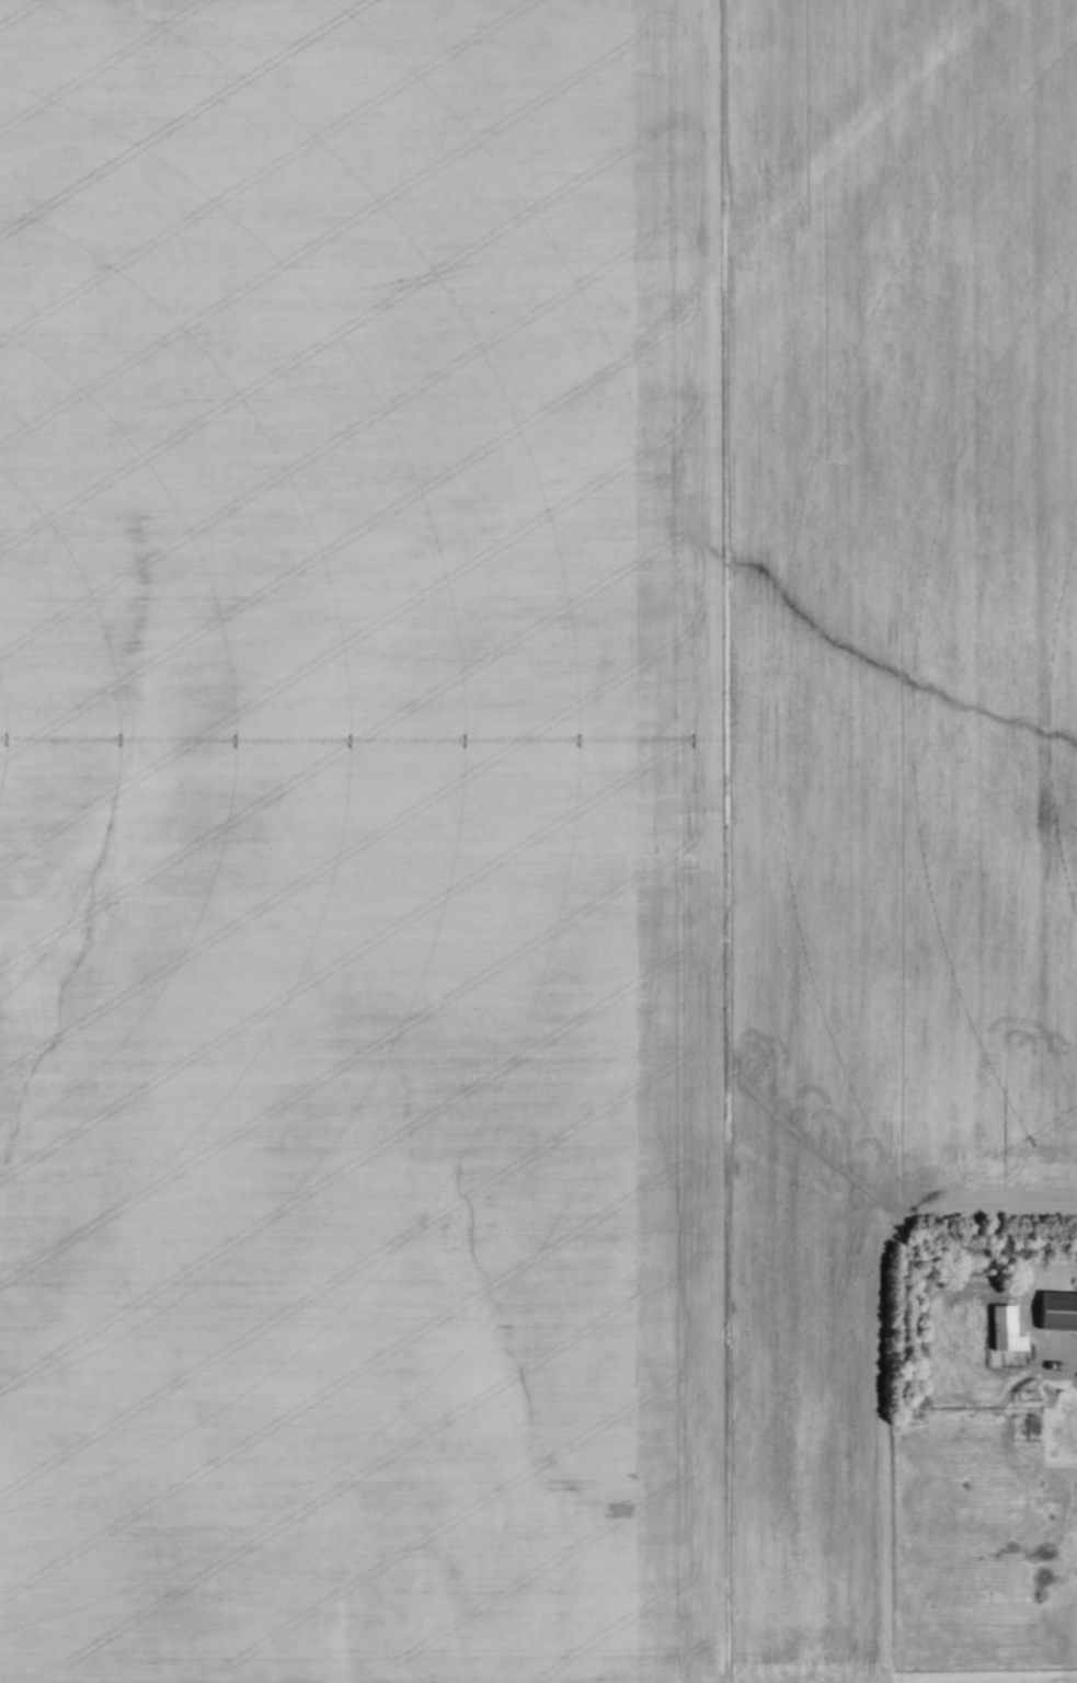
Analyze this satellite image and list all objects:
building: (1057, 1313)
building: (1004, 1331)

